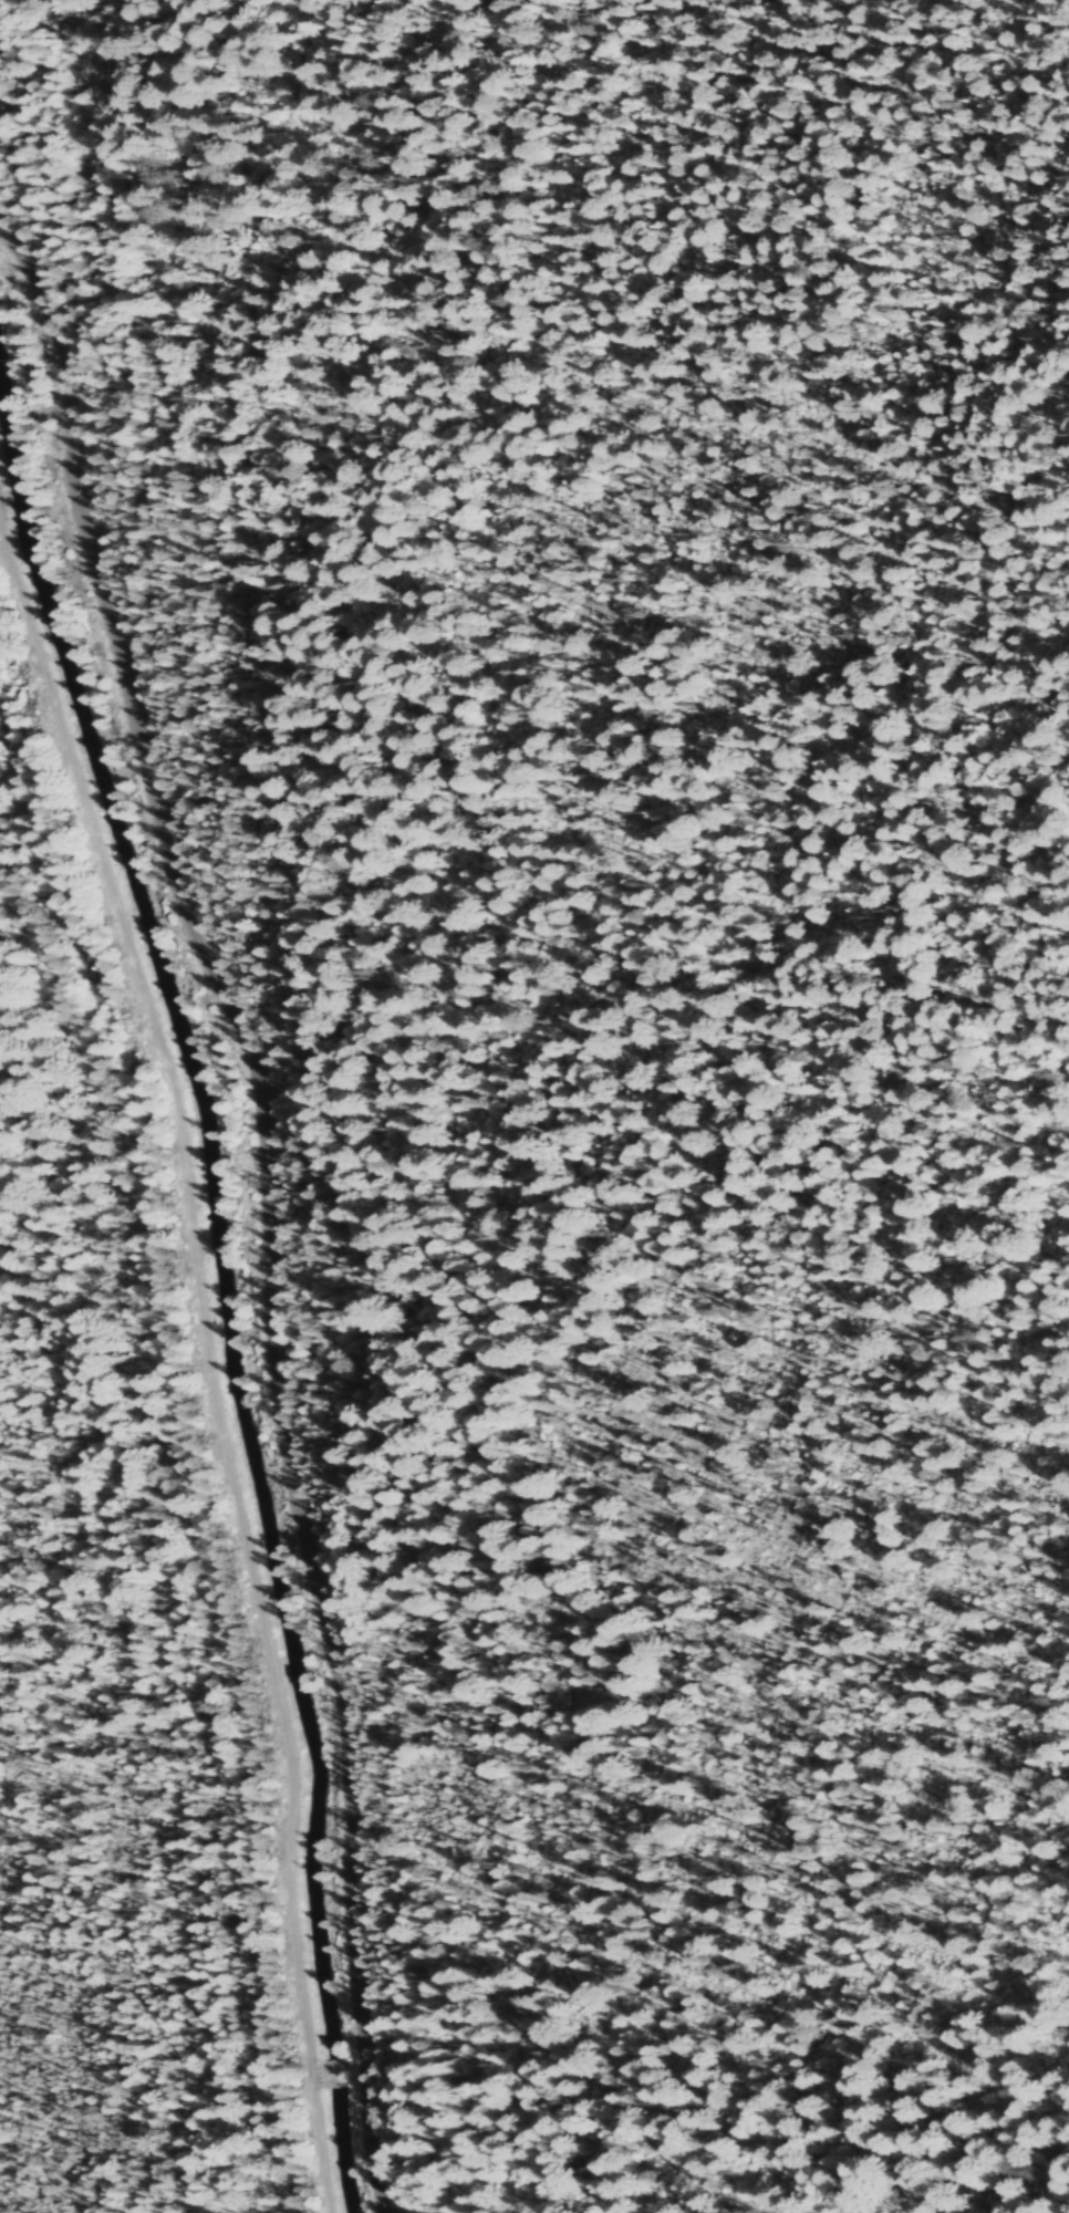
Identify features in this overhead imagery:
road: (274, 1195)
road: (212, 1359)
road: (345, 2071)

